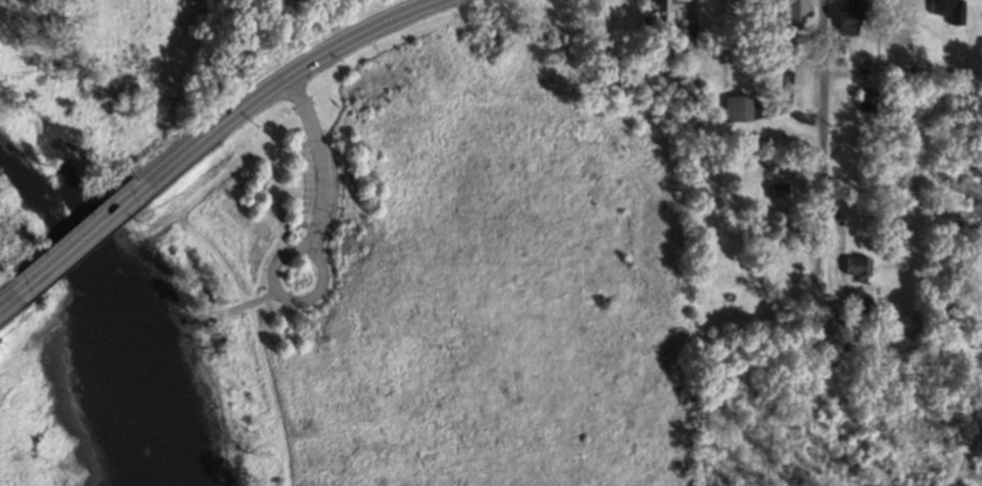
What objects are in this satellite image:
building: (950, 9)
building: (669, 10)
building: (794, 14)
building: (848, 23)
road: (284, 78)
building: (868, 99)
building: (738, 109)
road: (820, 153)
parking lot: (308, 182)
building: (778, 190)
road: (901, 211)
river: (49, 216)
road: (84, 237)
road: (313, 242)
road: (226, 264)
building: (859, 268)
road: (83, 297)
river: (84, 297)
road: (263, 298)
road: (8, 302)
river: (135, 390)
road: (964, 455)

